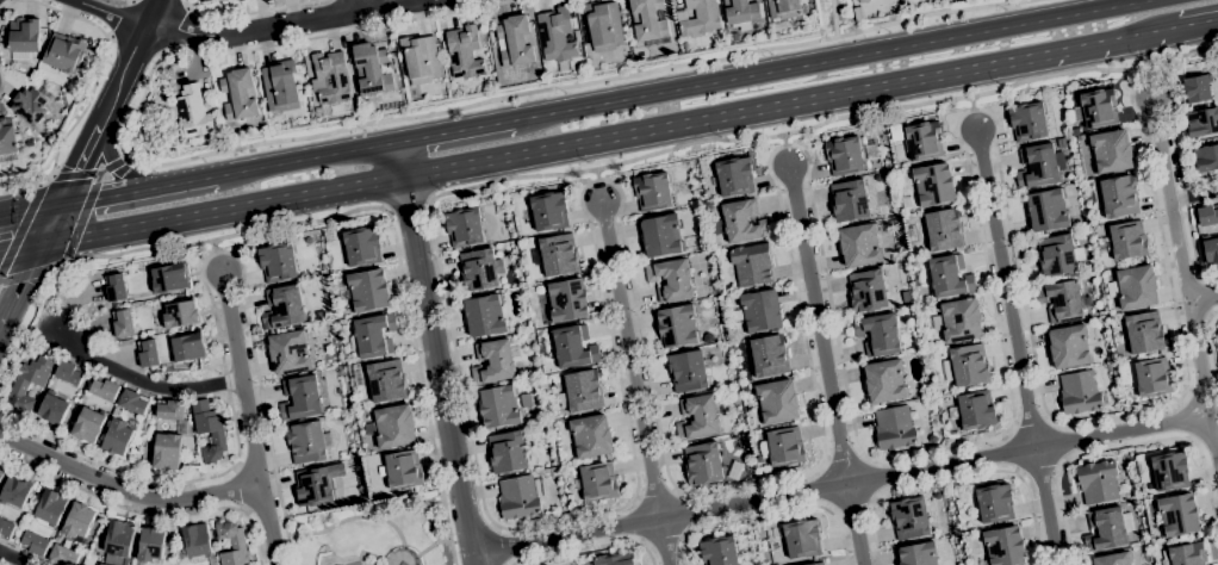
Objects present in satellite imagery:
road: (125, 0)
building: (237, 0)
building: (863, 1)
road: (129, 2)
road: (182, 4)
road: (360, 5)
building: (896, 5)
building: (783, 8)
road: (108, 13)
road: (249, 13)
building: (741, 13)
building: (701, 18)
road: (833, 18)
road: (120, 19)
building: (648, 20)
road: (1199, 23)
road: (280, 24)
road: (170, 26)
building: (603, 26)
building: (24, 36)
building: (557, 36)
building: (577, 36)
road: (110, 37)
building: (516, 42)
road: (1090, 46)
road: (163, 50)
building: (464, 52)
building: (64, 54)
building: (421, 60)
road: (834, 61)
road: (129, 64)
building: (563, 66)
building: (372, 69)
road: (1095, 69)
road: (1144, 73)
road: (95, 74)
building: (330, 77)
road: (0, 81)
building: (281, 87)
building: (1197, 89)
building: (240, 95)
road: (972, 104)
building: (30, 106)
building: (1096, 108)
building: (192, 113)
building: (1027, 122)
building: (1201, 123)
building: (145, 126)
road: (343, 130)
road: (455, 132)
building: (1075, 132)
building: (896, 134)
road: (788, 135)
road: (783, 141)
building: (924, 141)
building: (7, 142)
building: (29, 143)
building: (1061, 143)
building: (1111, 151)
road: (521, 154)
building: (844, 156)
building: (1206, 159)
road: (123, 160)
road: (306, 160)
building: (1059, 161)
road: (112, 163)
road: (79, 164)
building: (1037, 167)
road: (88, 174)
road: (596, 174)
road: (50, 176)
building: (734, 176)
road: (41, 184)
building: (934, 185)
road: (139, 192)
building: (652, 192)
building: (1118, 197)
road: (1193, 197)
building: (849, 200)
road: (405, 203)
building: (907, 203)
traffic signals: (63, 204)
road: (31, 207)
building: (1071, 207)
building: (549, 210)
building: (1048, 211)
road: (82, 216)
road: (335, 216)
building: (1207, 216)
building: (741, 222)
road: (51, 224)
building: (464, 228)
road: (20, 230)
building: (944, 230)
building: (912, 234)
building: (661, 236)
building: (1125, 242)
road: (1192, 242)
road: (219, 244)
traffic signals: (41, 246)
building: (859, 246)
building: (362, 247)
road: (19, 248)
building: (1211, 252)
building: (559, 255)
building: (1057, 255)
road: (62, 261)
building: (278, 262)
building: (752, 265)
road: (48, 269)
building: (479, 269)
road: (23, 275)
building: (950, 277)
building: (169, 279)
building: (671, 280)
road: (1183, 281)
road: (19, 285)
building: (1133, 287)
building: (116, 288)
building: (368, 291)
building: (866, 291)
road: (1208, 297)
building: (567, 300)
road: (1203, 300)
building: (1062, 302)
building: (284, 308)
building: (760, 310)
building: (181, 315)
road: (213, 316)
building: (485, 316)
building: (961, 319)
building: (123, 324)
building: (677, 327)
building: (1144, 333)
building: (878, 335)
building: (373, 336)
road: (1212, 340)
road: (1015, 346)
building: (187, 347)
building: (573, 347)
building: (1069, 347)
building: (290, 352)
building: (148, 354)
road: (435, 354)
building: (769, 356)
building: (493, 361)
road: (825, 364)
building: (967, 366)
building: (688, 372)
building: (69, 373)
building: (1152, 378)
building: (31, 380)
road: (147, 380)
building: (387, 380)
building: (884, 381)
road: (634, 384)
building: (105, 389)
building: (584, 391)
building: (1081, 393)
building: (300, 398)
road: (1180, 398)
building: (133, 402)
building: (777, 402)
building: (499, 408)
building: (52, 409)
building: (169, 410)
building: (974, 411)
road: (1213, 412)
building: (697, 418)
road: (248, 420)
road: (1188, 420)
building: (87, 424)
building: (394, 427)
road: (1032, 427)
building: (894, 428)
building: (209, 431)
building: (591, 436)
building: (117, 437)
building: (306, 442)
road: (1058, 443)
road: (1126, 447)
building: (783, 448)
building: (167, 452)
road: (1014, 452)
building: (509, 453)
building: (703, 464)
road: (1039, 468)
building: (404, 471)
building: (1170, 471)
road: (992, 472)
building: (1, 473)
building: (1146, 479)
building: (1098, 482)
building: (598, 483)
road: (672, 483)
road: (840, 486)
road: (237, 488)
building: (313, 488)
building: (14, 491)
road: (124, 493)
building: (521, 497)
building: (995, 503)
road: (853, 504)
building: (50, 508)
road: (144, 513)
road: (771, 514)
building: (1177, 515)
building: (909, 519)
building: (79, 521)
building: (6, 529)
building: (1107, 529)
road: (872, 532)
park: (380, 536)
building: (119, 539)
building: (802, 539)
road: (664, 540)
building: (197, 541)
building: (33, 544)
building: (232, 544)
building: (151, 545)
road: (498, 546)
building: (1005, 546)
road: (589, 548)
building: (719, 551)
building: (919, 554)
building: (1185, 554)
building: (62, 555)
road: (15, 558)
building: (614, 559)
building: (1113, 559)
building: (102, 564)
building: (810, 564)
building: (818, 564)

